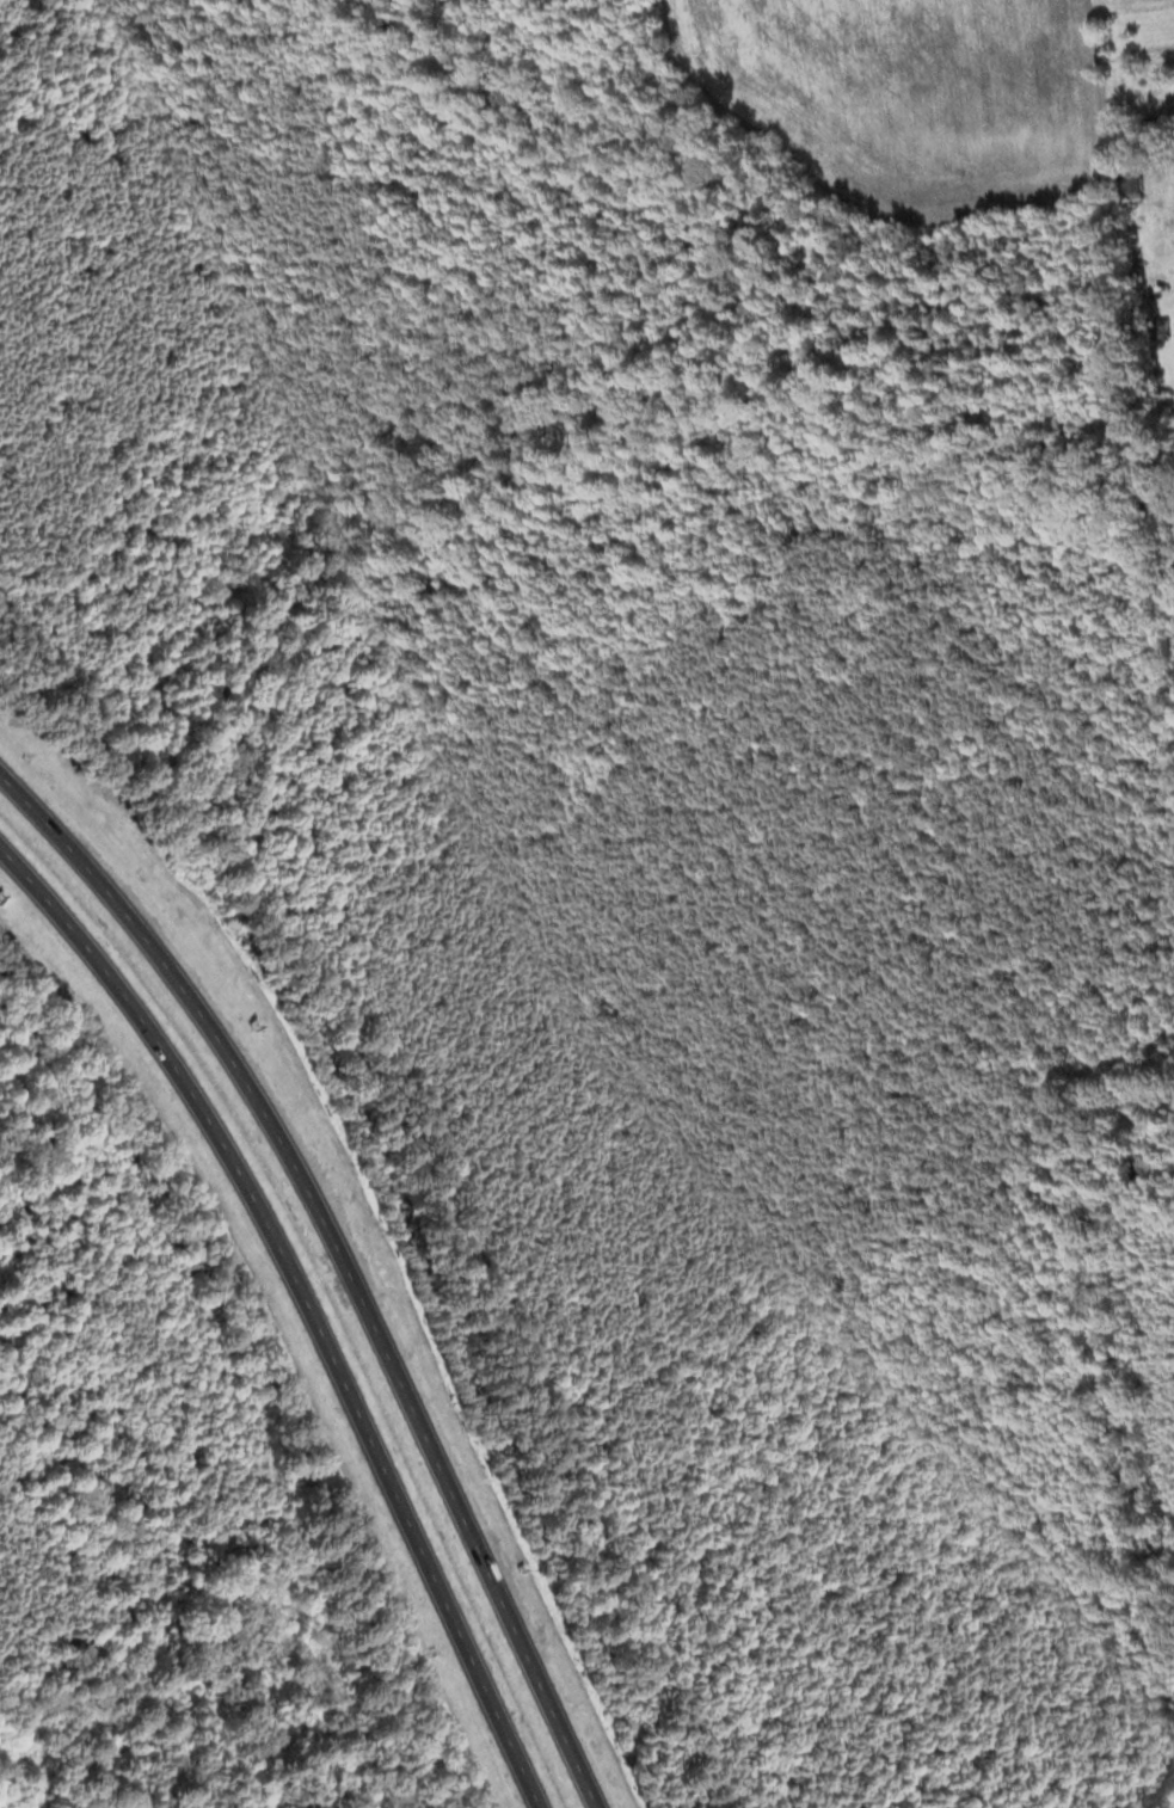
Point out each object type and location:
crop: (909, 96)
building: (1127, 179)
road: (345, 1261)
road: (307, 1302)

